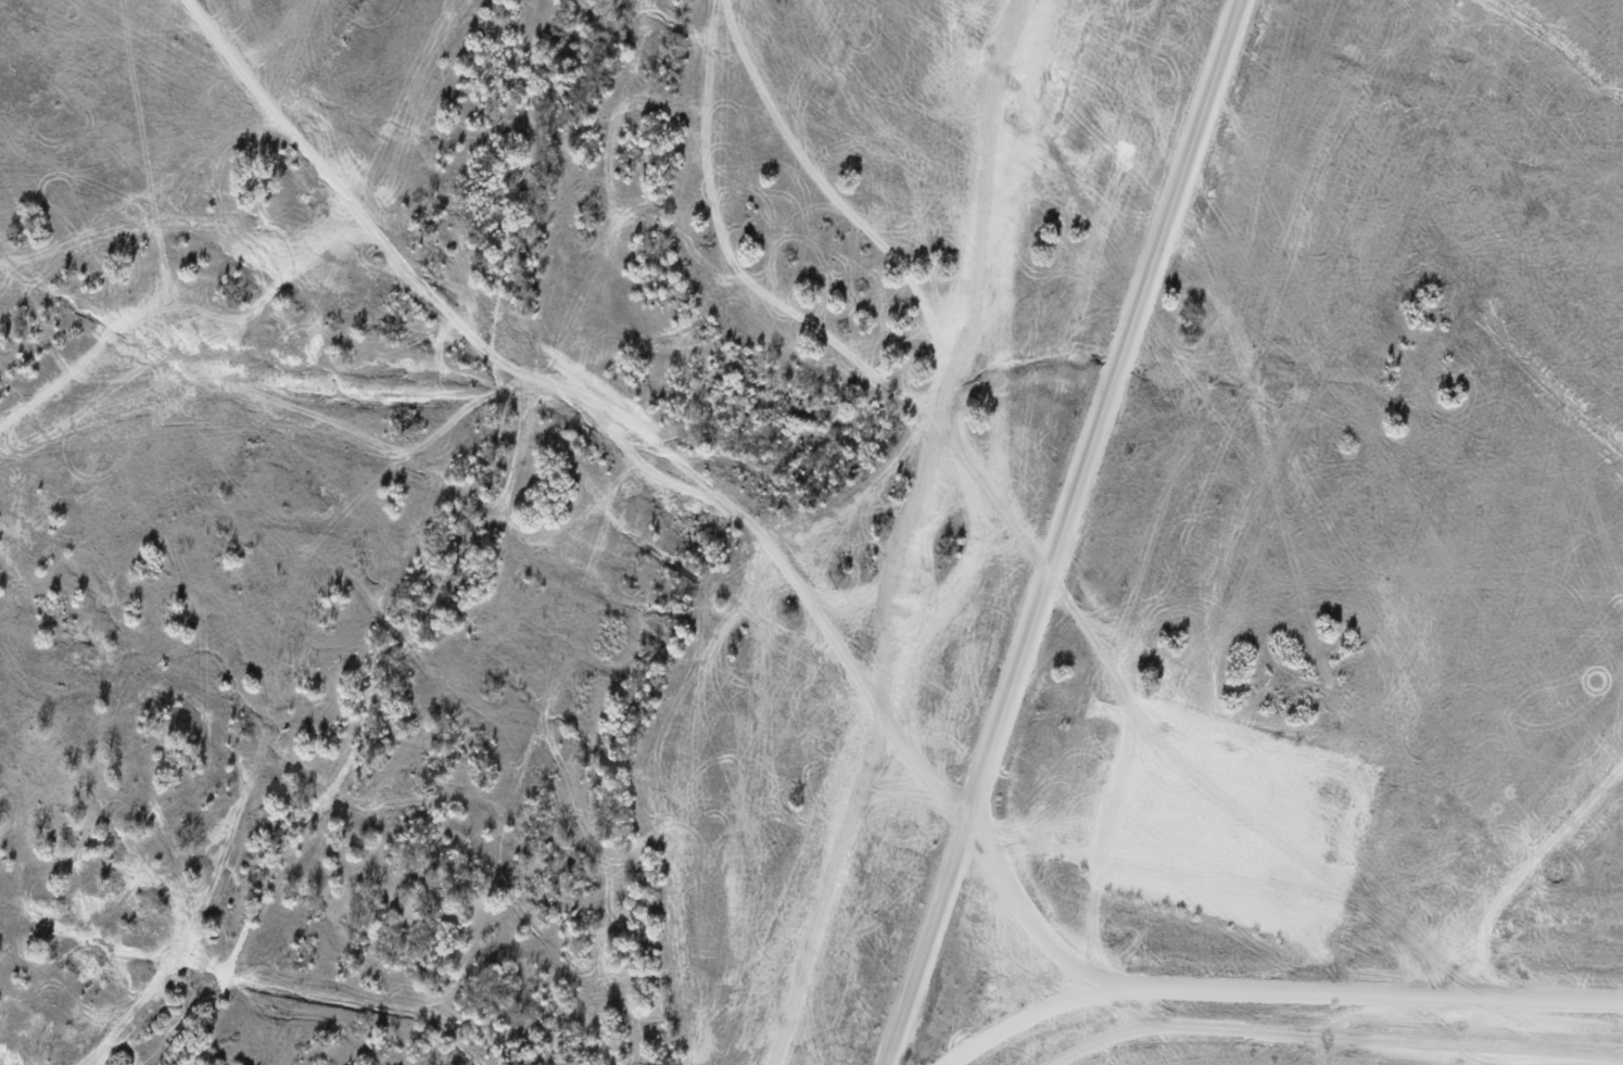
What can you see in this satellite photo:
road: (1068, 532)
road: (918, 536)
airport runway: (1555, 829)
road: (1024, 916)
road: (1366, 997)
road: (1015, 1015)
road: (1478, 1031)
road: (1335, 1034)

